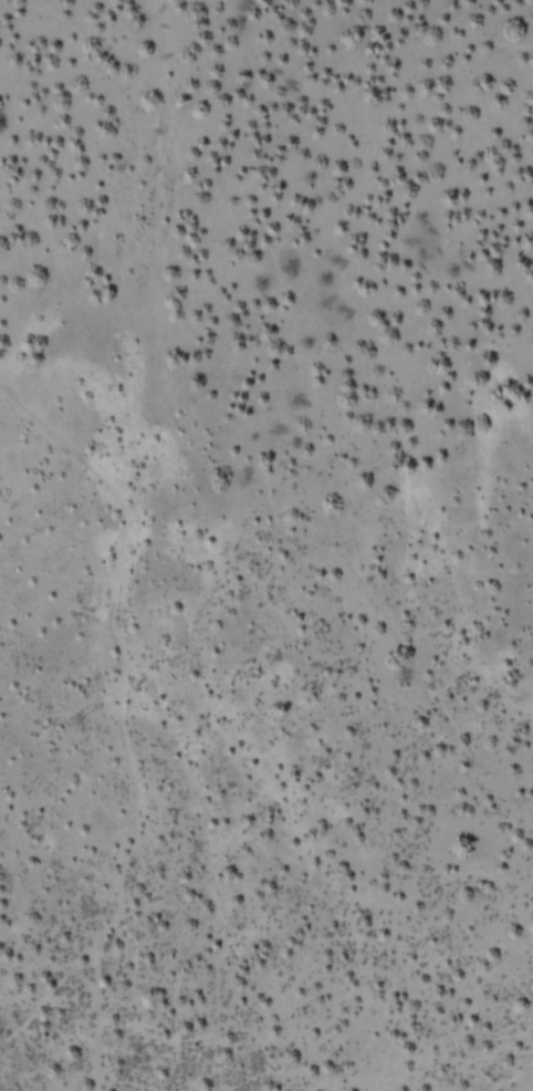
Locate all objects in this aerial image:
road: (121, 714)

